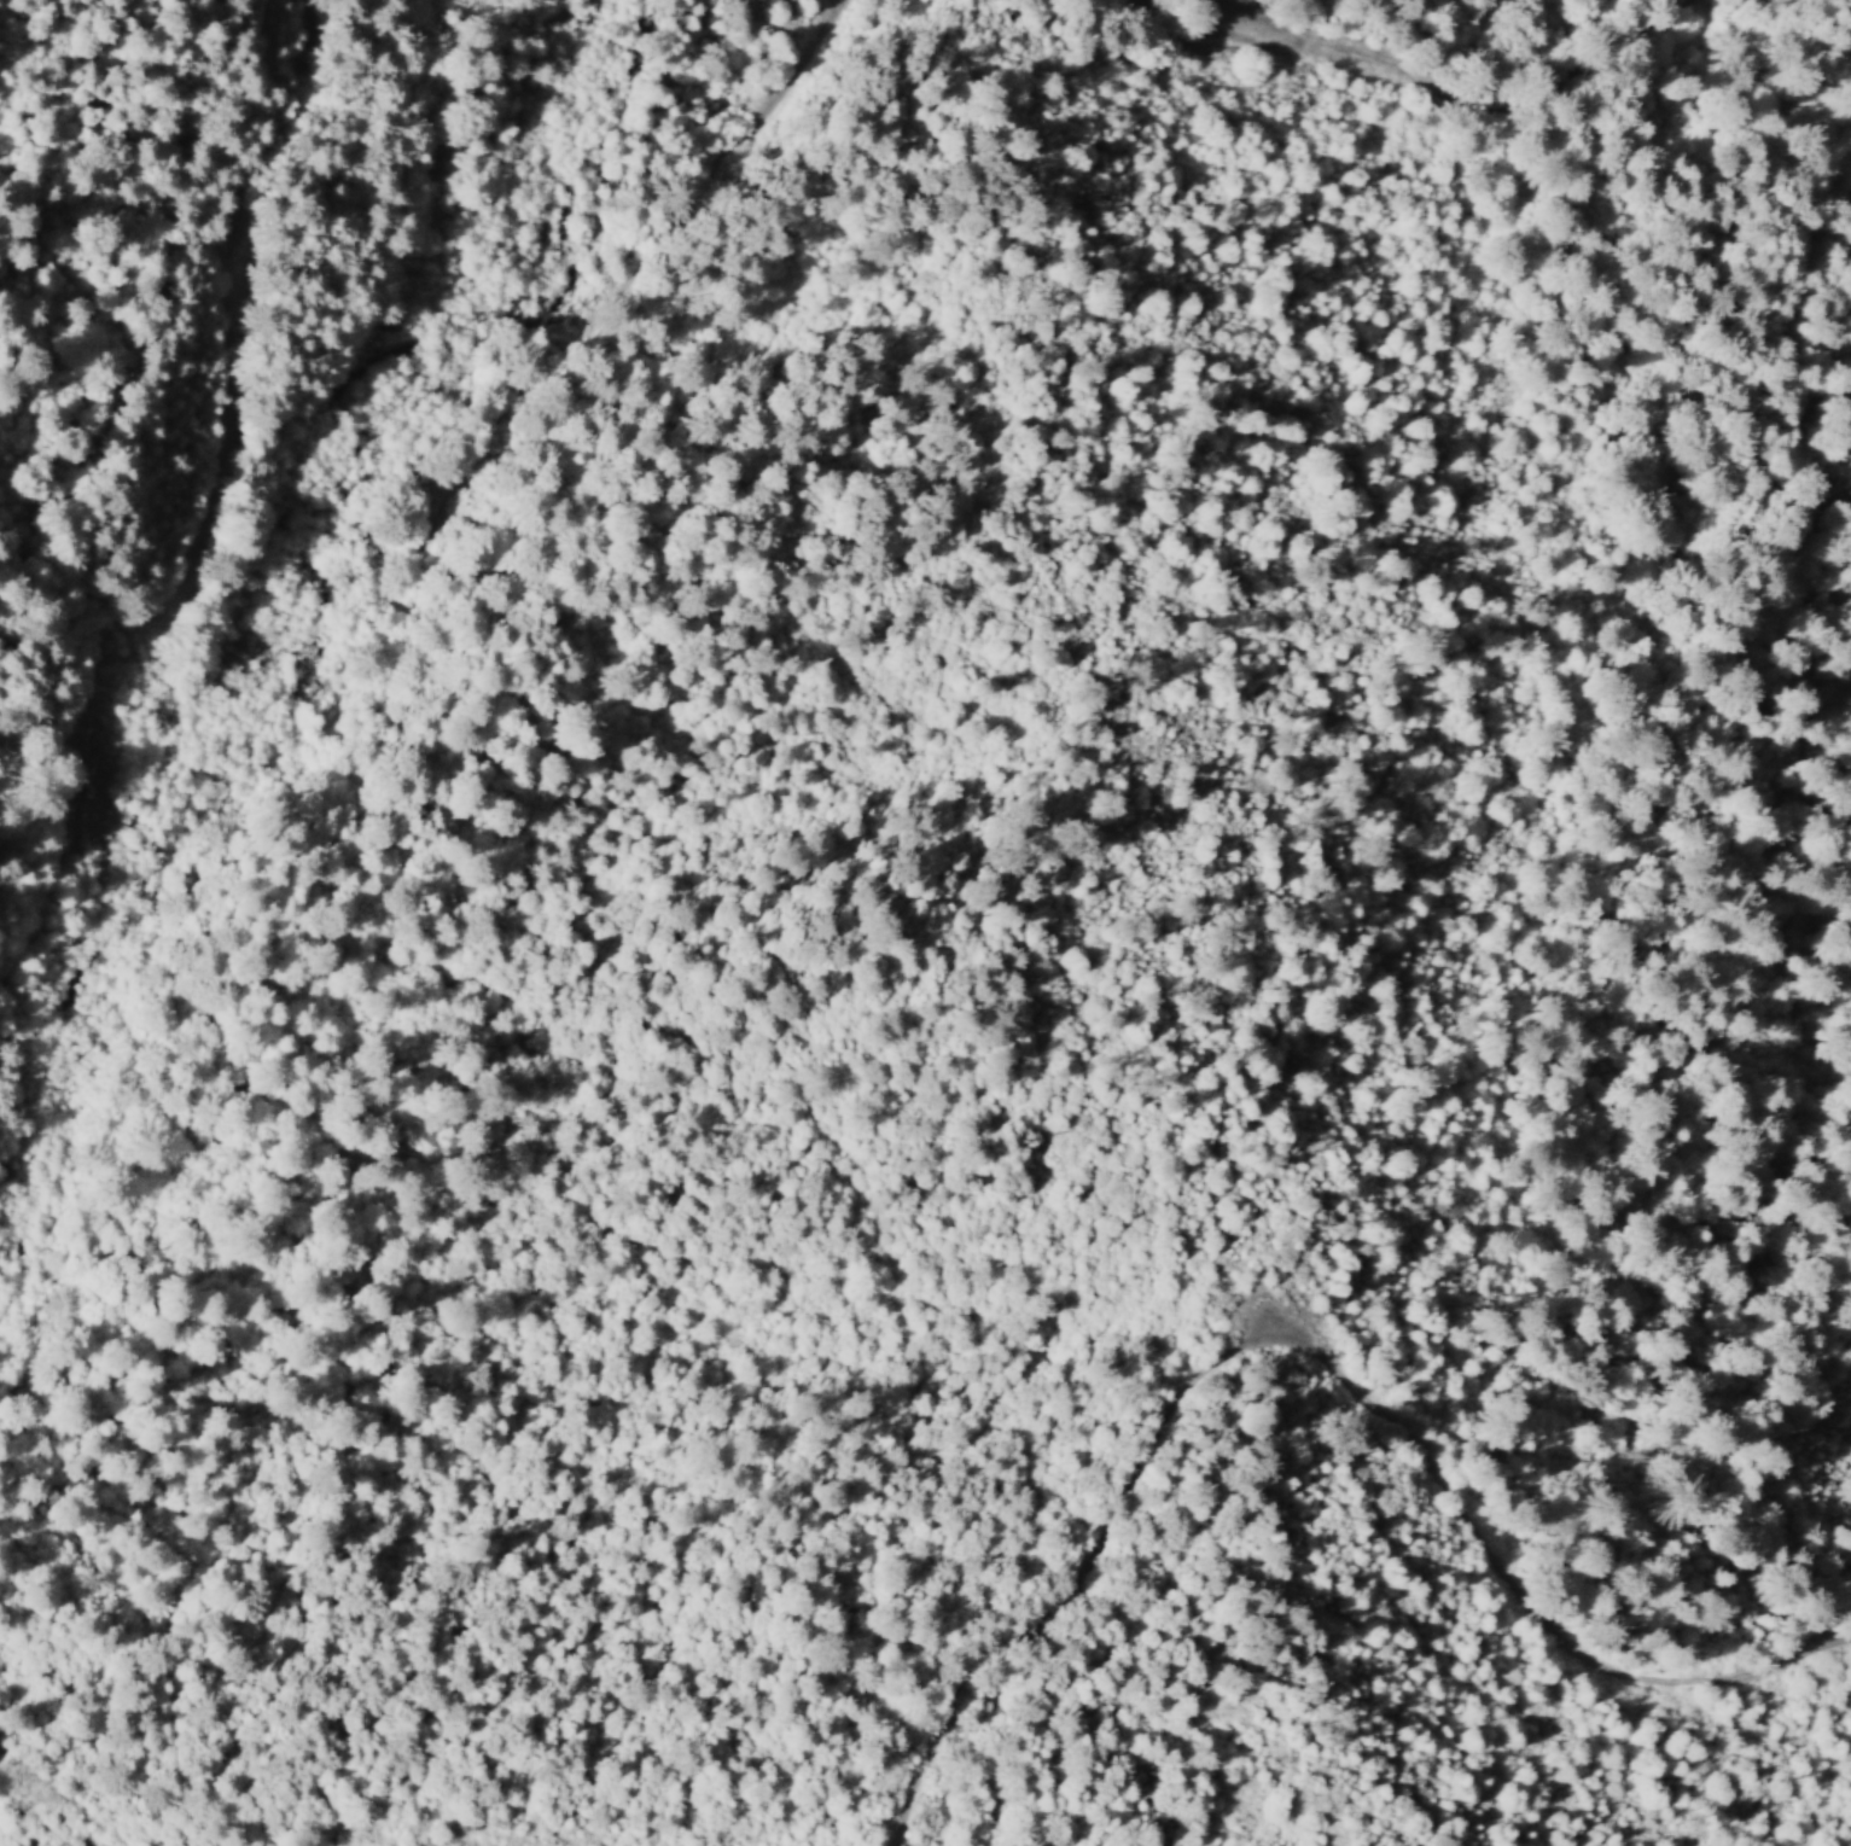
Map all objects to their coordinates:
road: (1490, 115)
road: (1178, 127)
road: (281, 377)
road: (421, 566)

